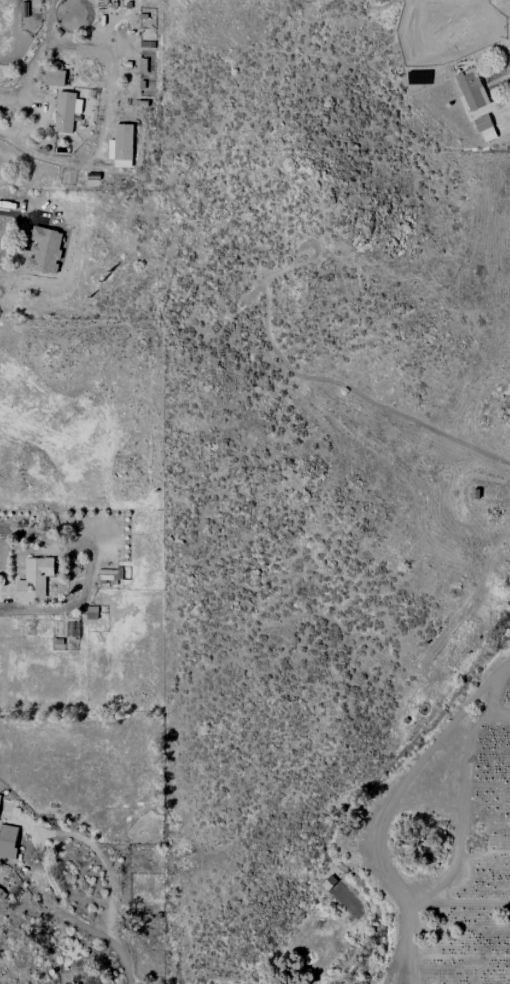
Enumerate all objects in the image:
building: (54, 77)
building: (471, 88)
building: (66, 110)
building: (485, 127)
building: (121, 145)
road: (49, 159)
road: (7, 213)
building: (44, 249)
road: (85, 570)
building: (109, 574)
building: (34, 578)
building: (92, 612)
road: (482, 688)
road: (49, 831)
building: (8, 840)
road: (405, 884)
road: (125, 962)

